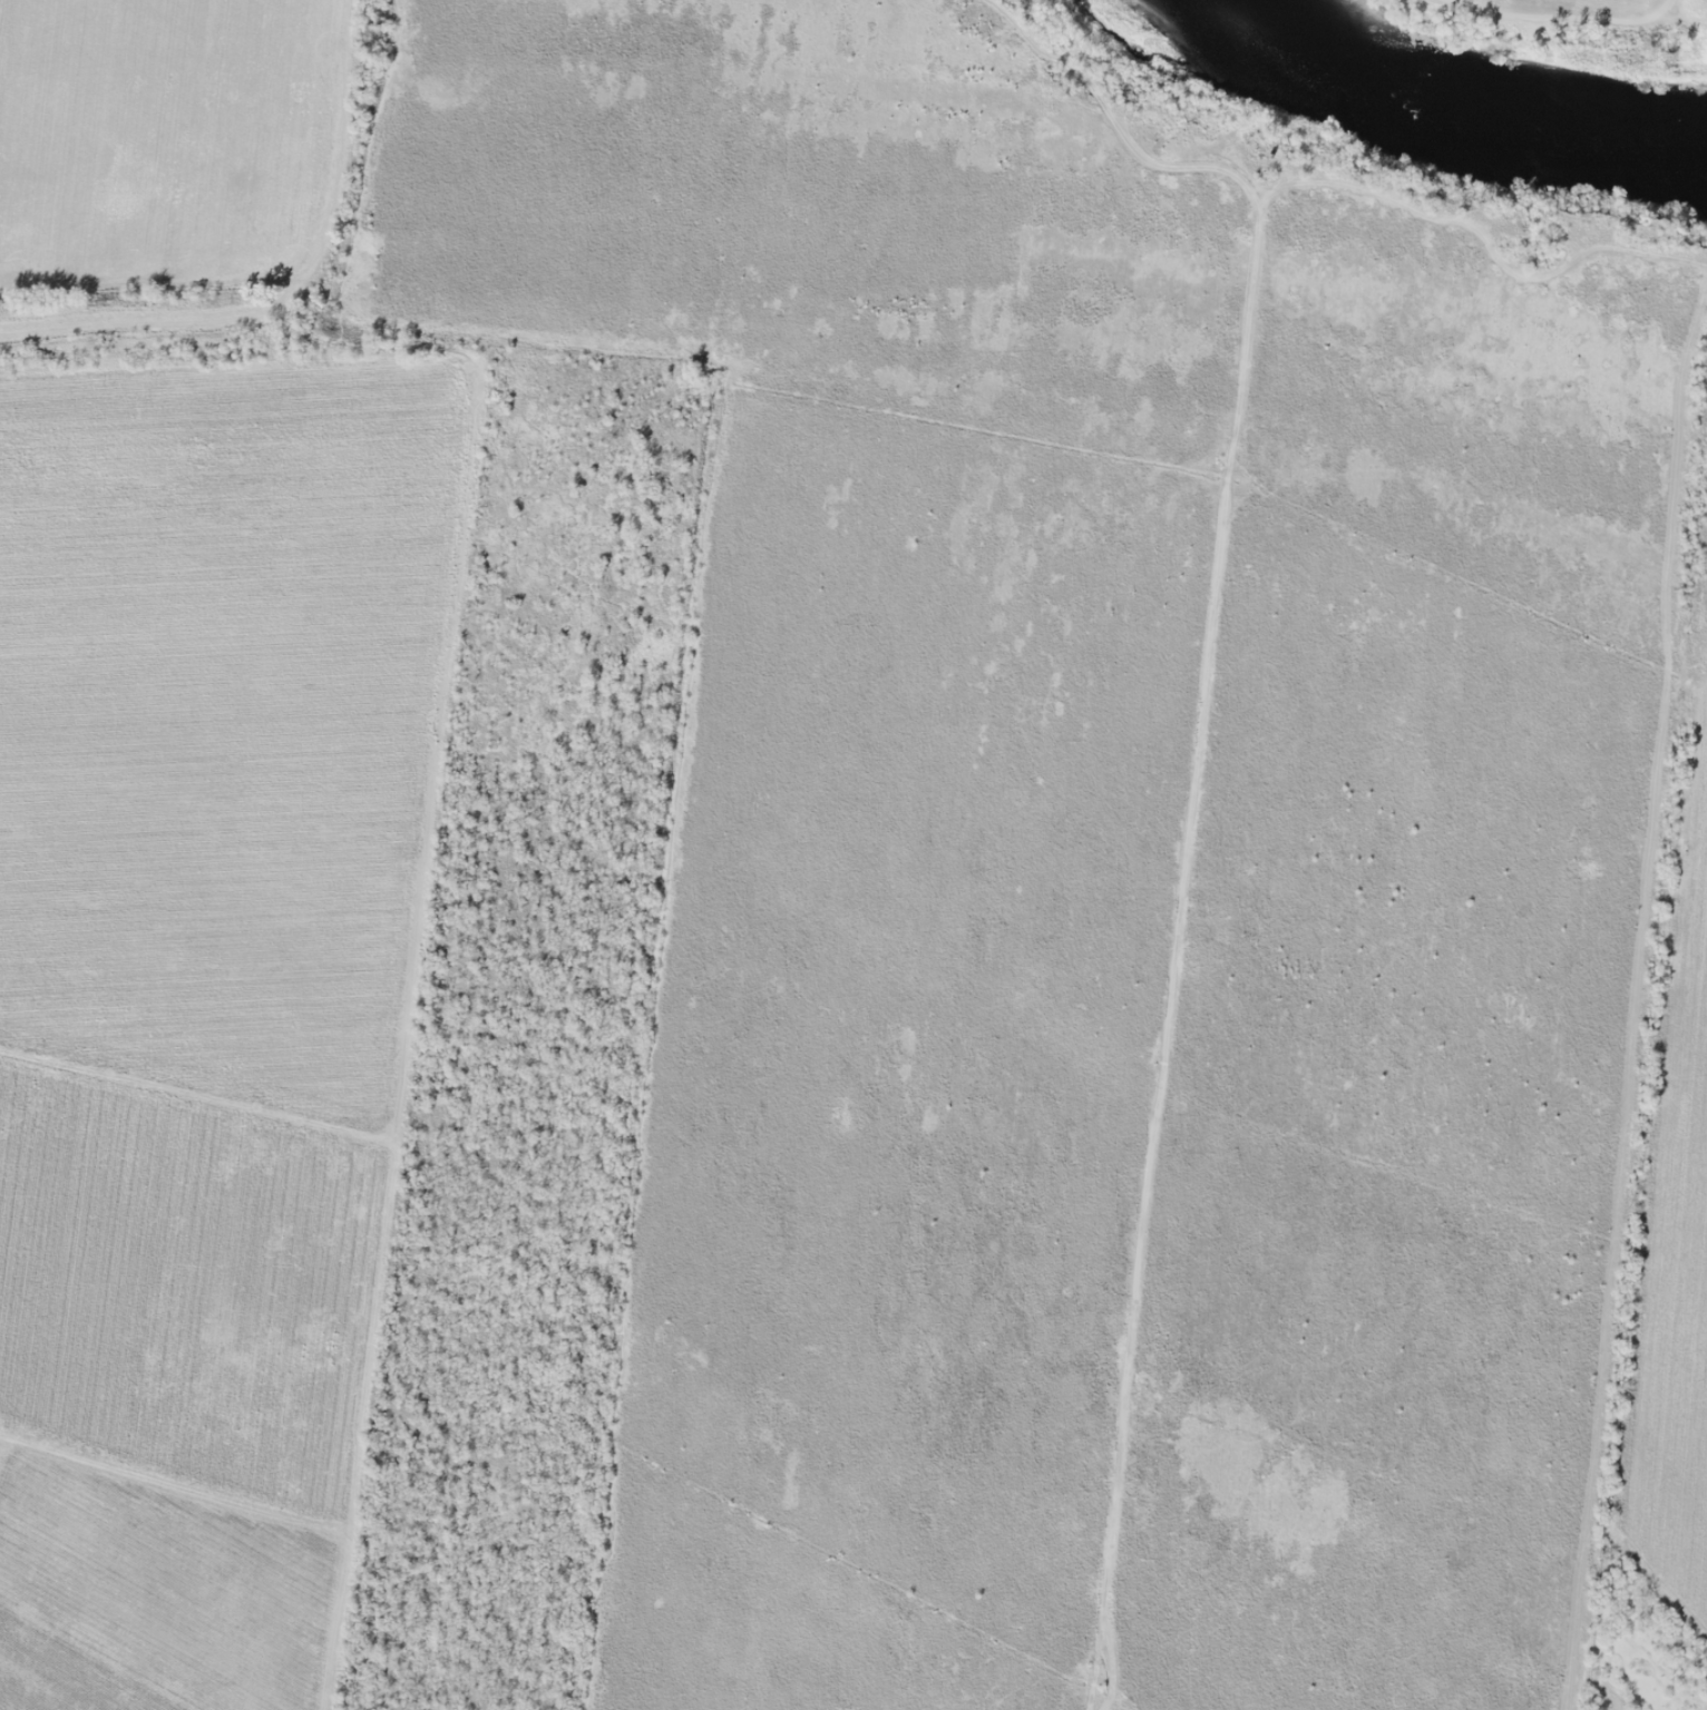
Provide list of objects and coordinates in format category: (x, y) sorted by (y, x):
river: (1402, 89)
river: (1654, 125)

